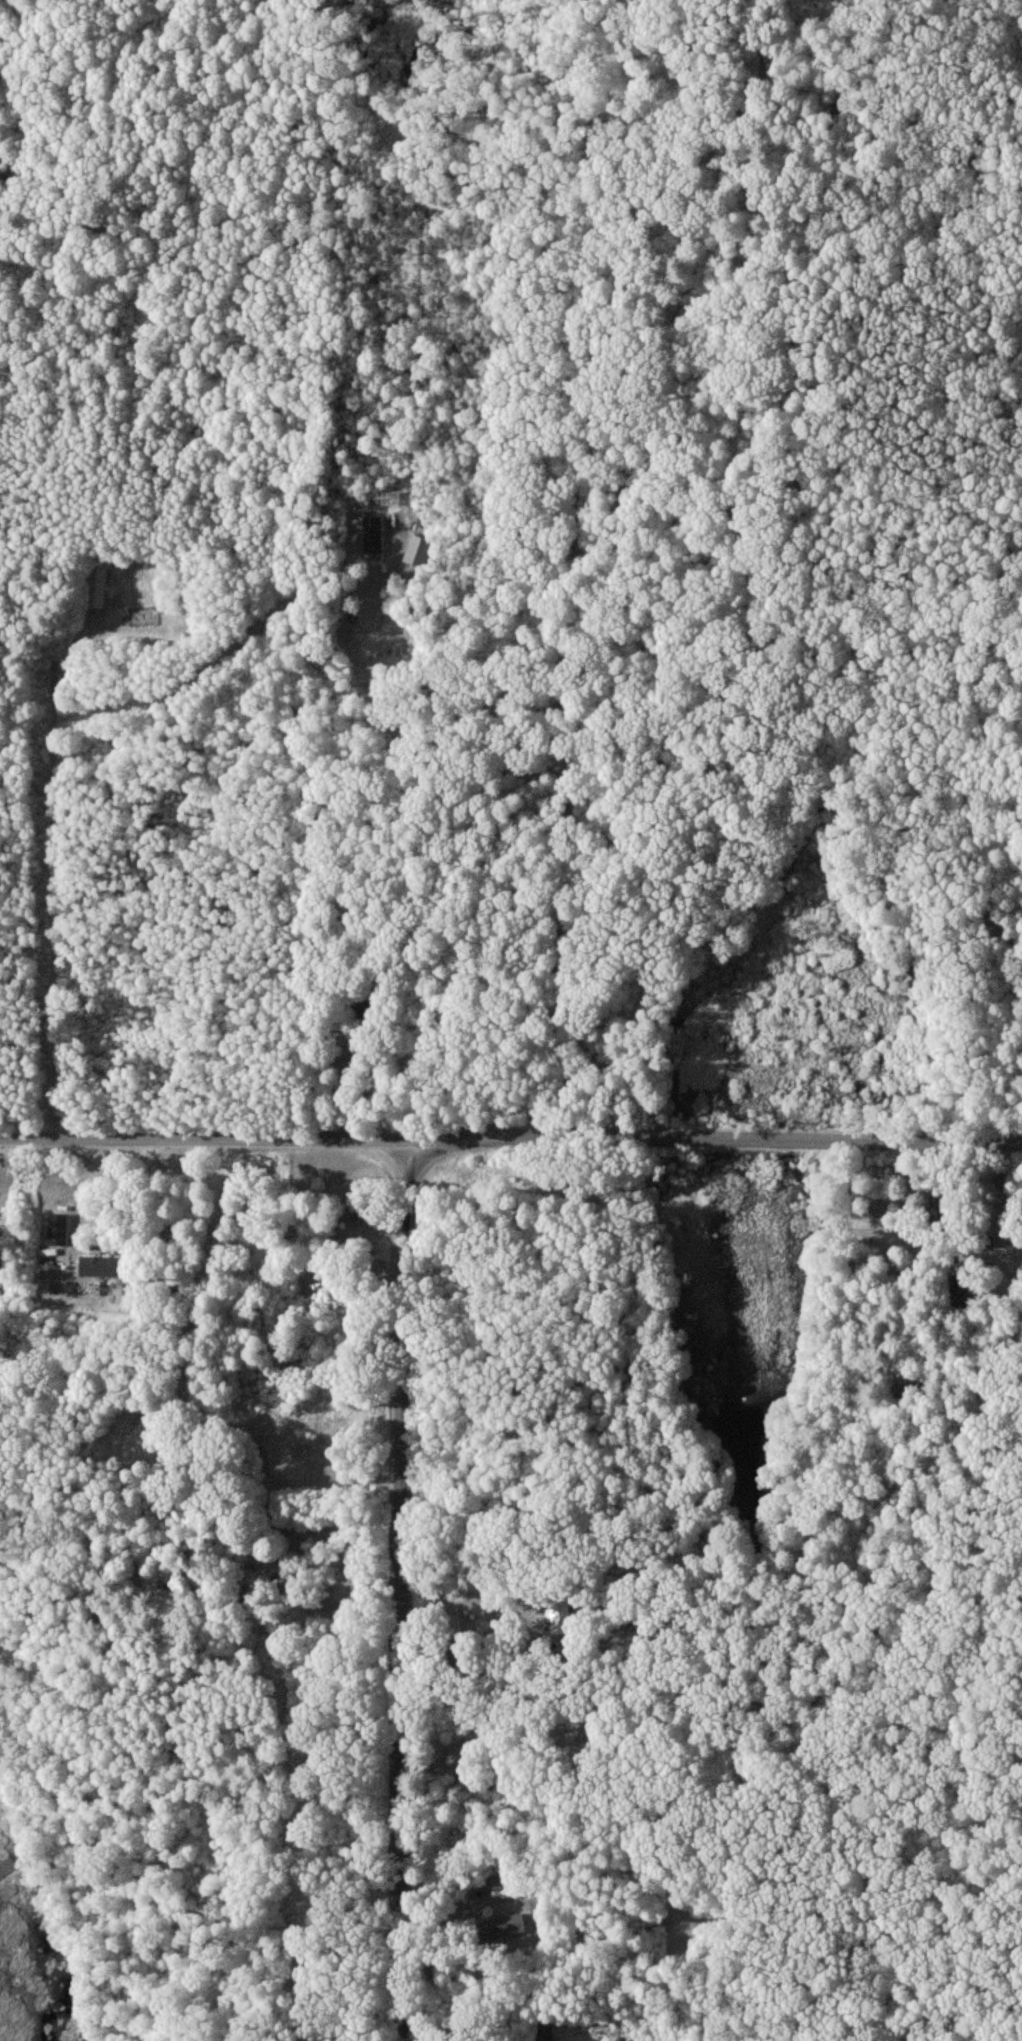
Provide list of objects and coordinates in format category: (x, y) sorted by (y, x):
building: (373, 534)
building: (416, 549)
building: (96, 585)
road: (44, 882)
road: (511, 1137)
building: (58, 1229)
building: (99, 1266)
building: (74, 1287)
road: (404, 1588)
building: (559, 1617)
building: (505, 1926)
building: (543, 2029)

